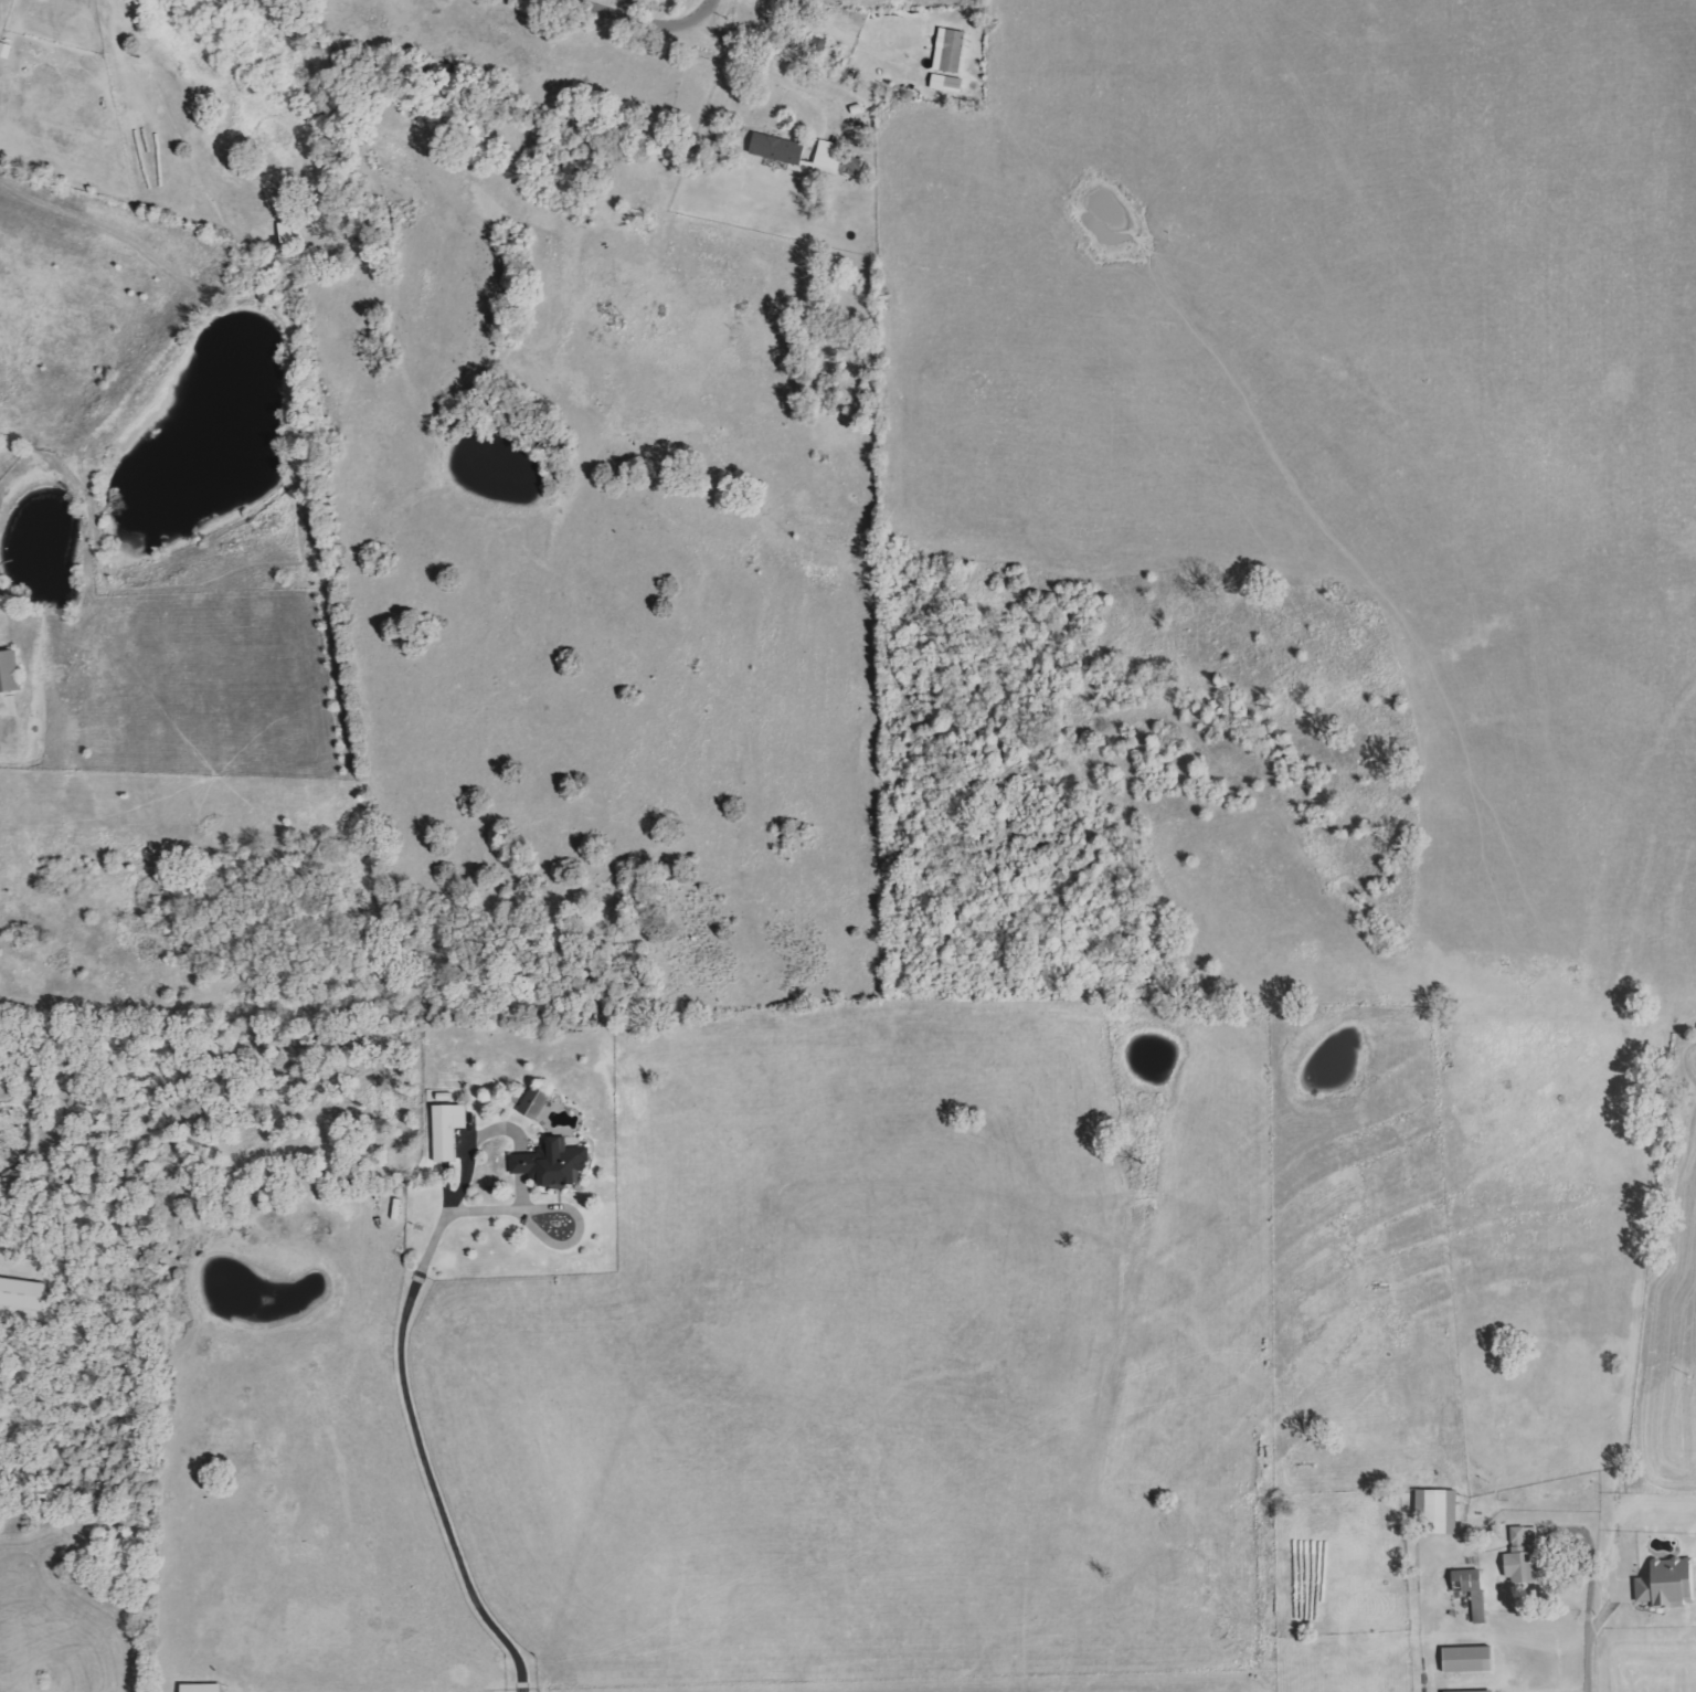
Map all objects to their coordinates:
road: (636, 28)
road: (839, 32)
building: (952, 51)
road: (771, 68)
building: (950, 84)
building: (780, 150)
building: (829, 159)
building: (10, 671)
building: (537, 1103)
building: (451, 1130)
road: (478, 1148)
building: (23, 1294)
road: (417, 1403)
building: (1441, 1510)
building: (1525, 1556)
building: (1671, 1583)
building: (1473, 1589)
building: (1471, 1659)
road: (1590, 1661)
building: (203, 1688)
building: (1478, 1691)

